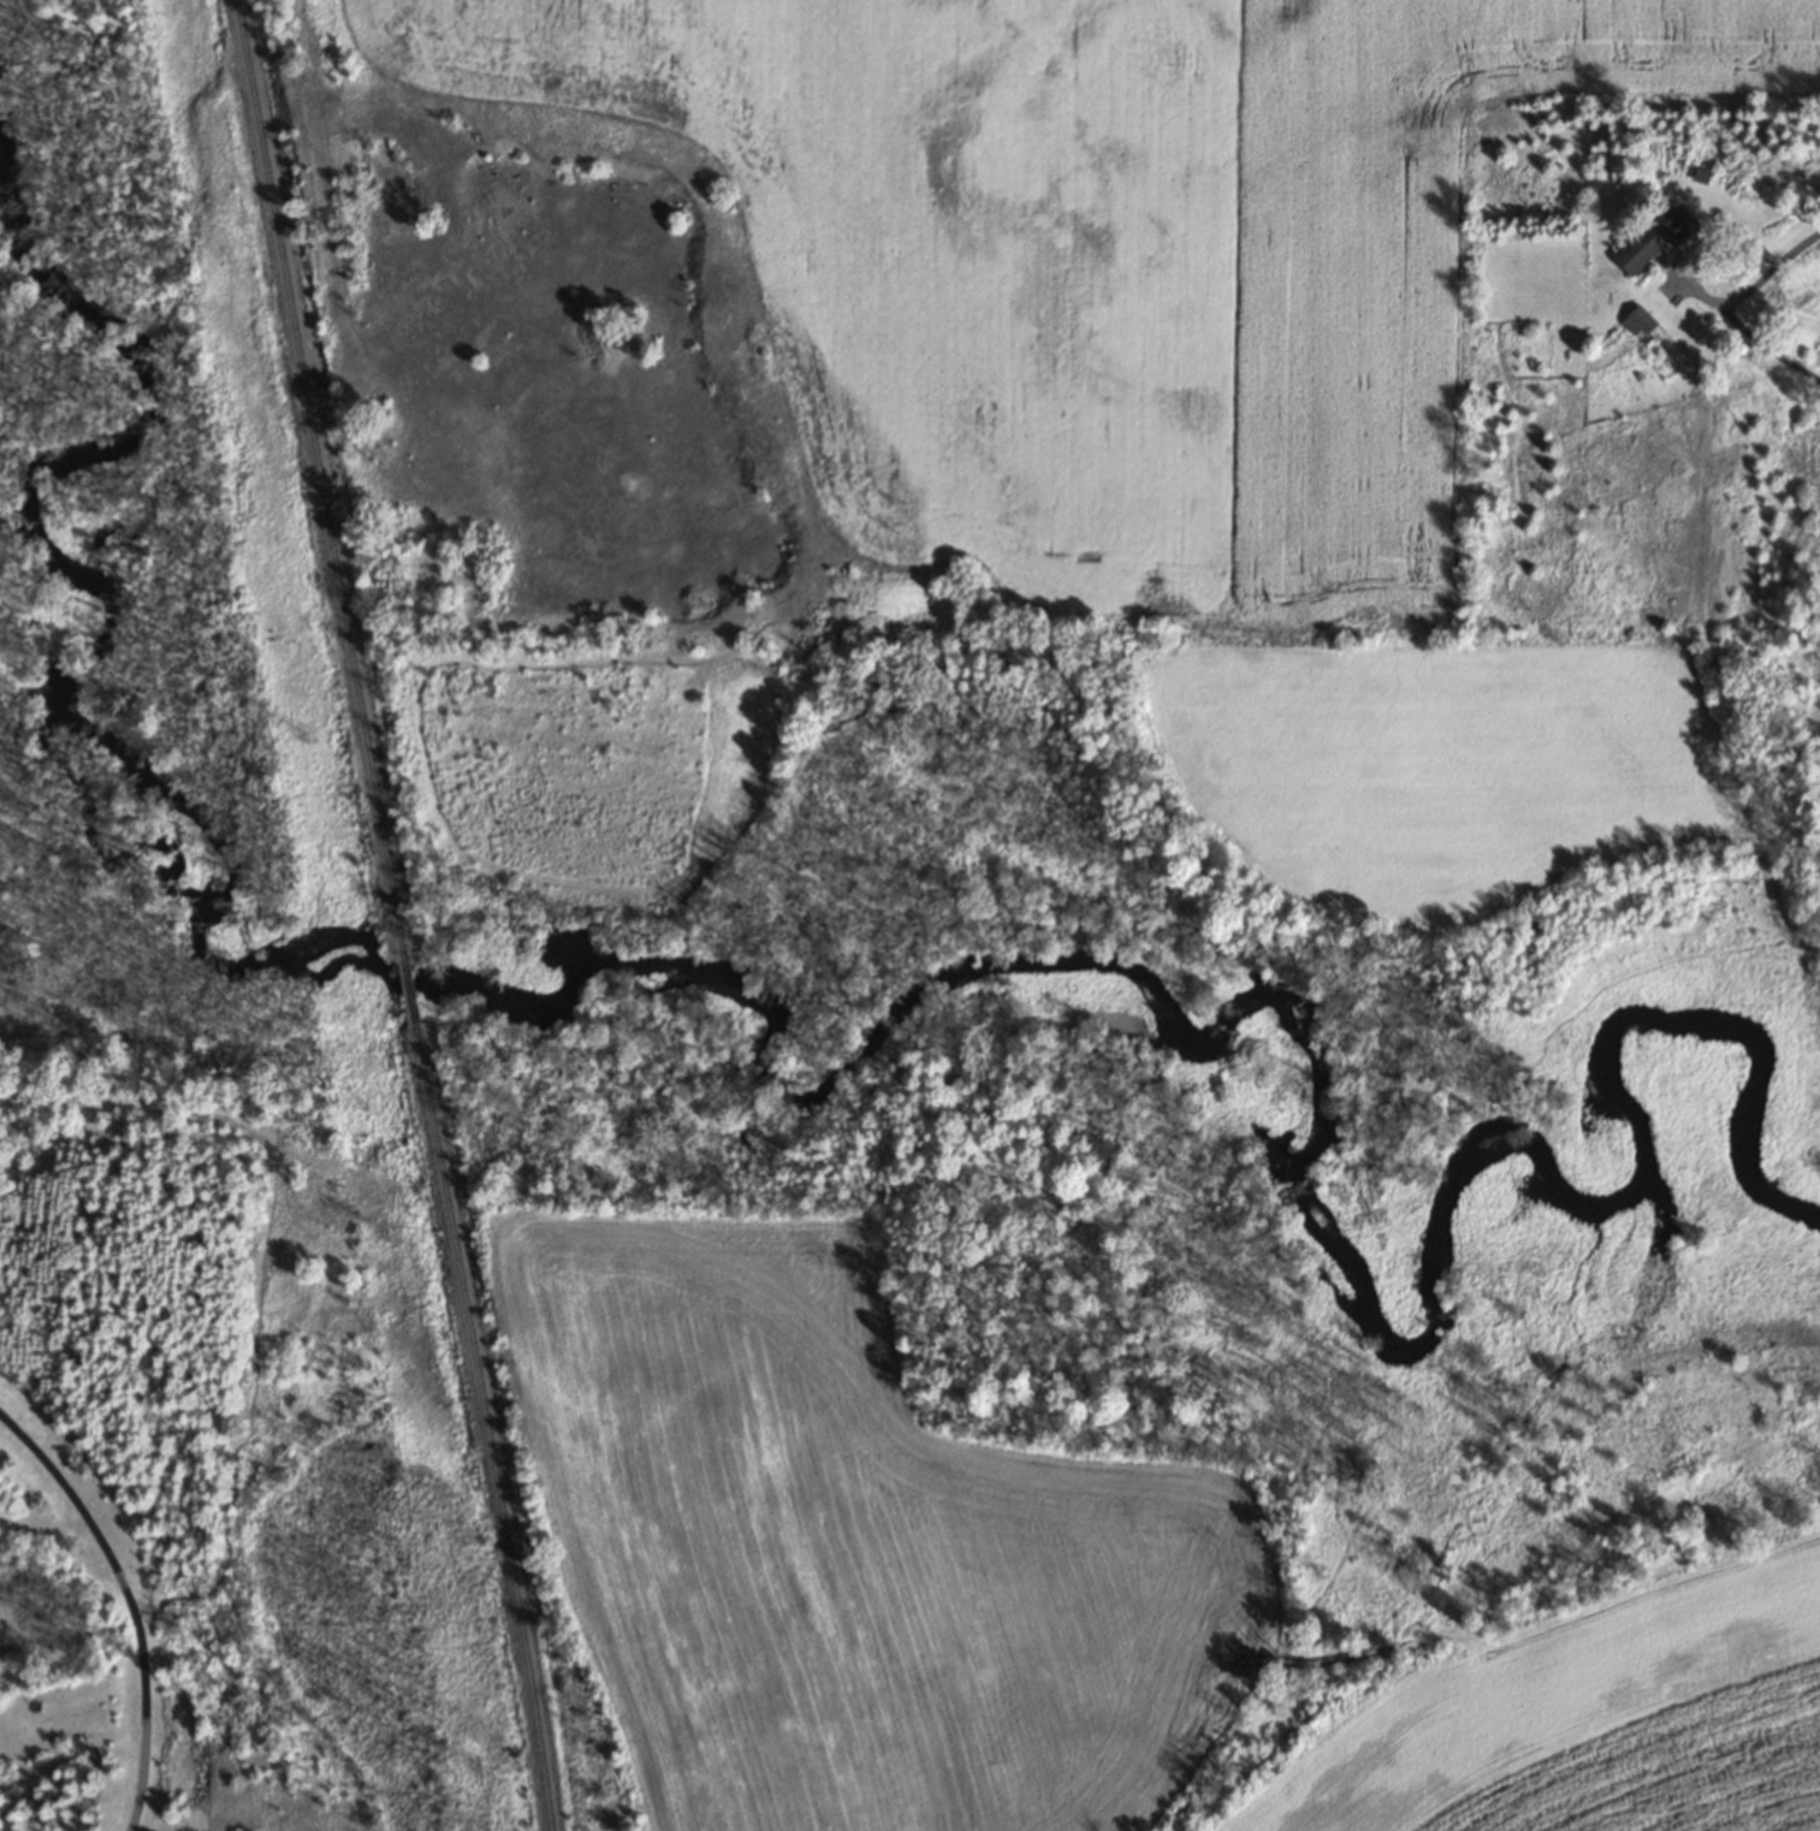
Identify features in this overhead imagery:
building: (1654, 236)
road: (1724, 306)
building: (1635, 320)
railway: (399, 914)
river: (793, 1011)

